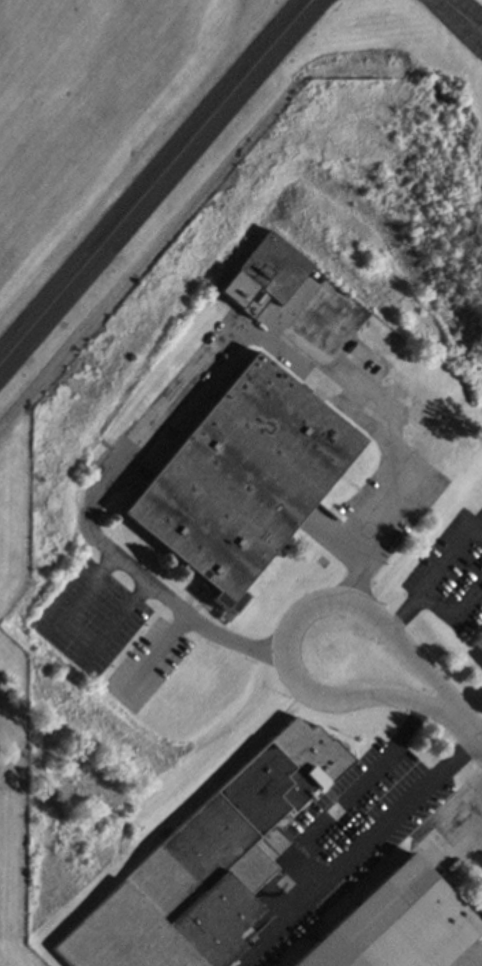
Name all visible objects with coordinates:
airport taxiway: (463, 15)
airport: (150, 152)
airport taxiway: (154, 181)
building: (265, 278)
road: (194, 368)
building: (241, 481)
road: (446, 554)
road: (398, 612)
road: (449, 615)
parking lot: (84, 617)
road: (284, 626)
road: (63, 649)
road: (148, 655)
building: (481, 662)
parking lot: (140, 665)
road: (470, 733)
airport: (13, 814)
building: (206, 866)
road: (302, 878)
building: (399, 924)
road: (477, 960)

